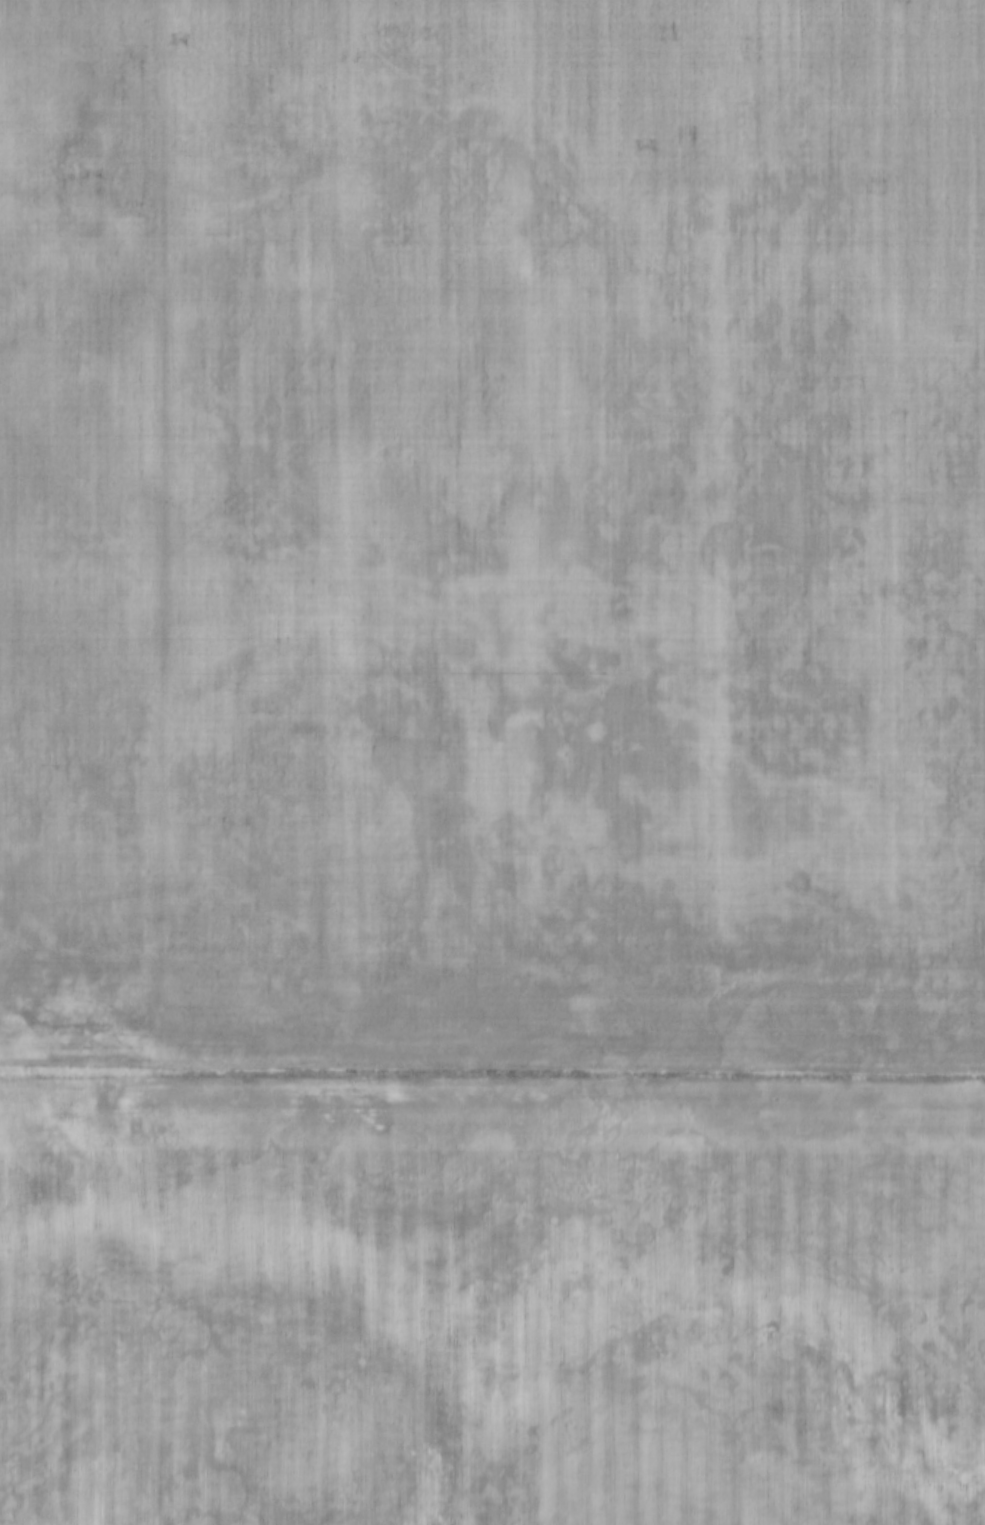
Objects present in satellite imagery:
road: (492, 1063)

